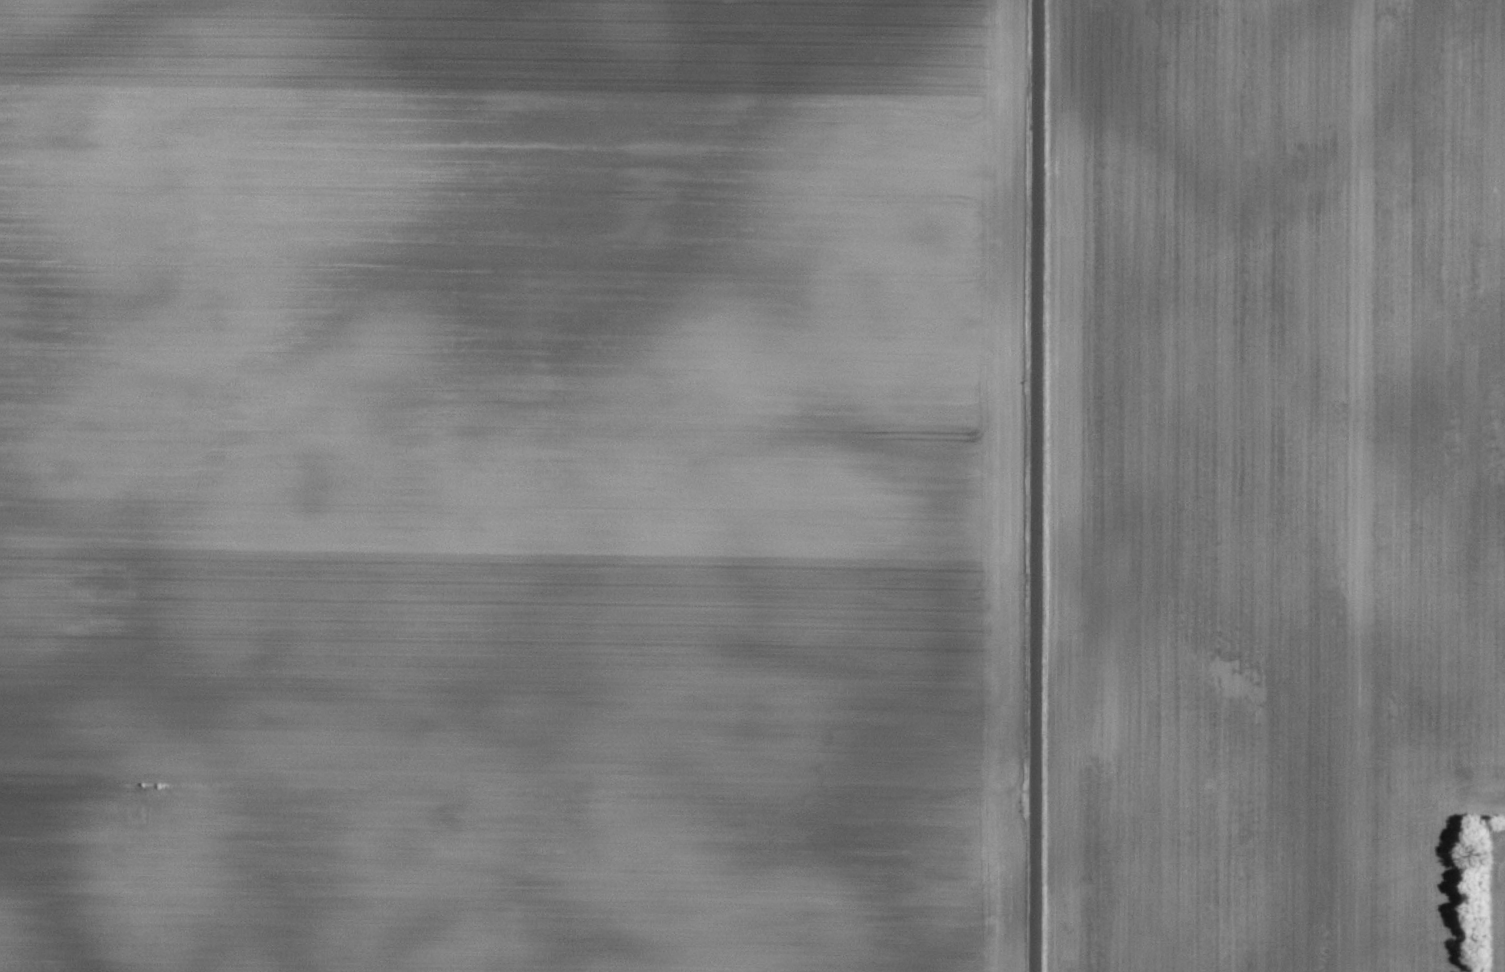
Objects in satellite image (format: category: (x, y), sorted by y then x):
road: (1037, 486)

